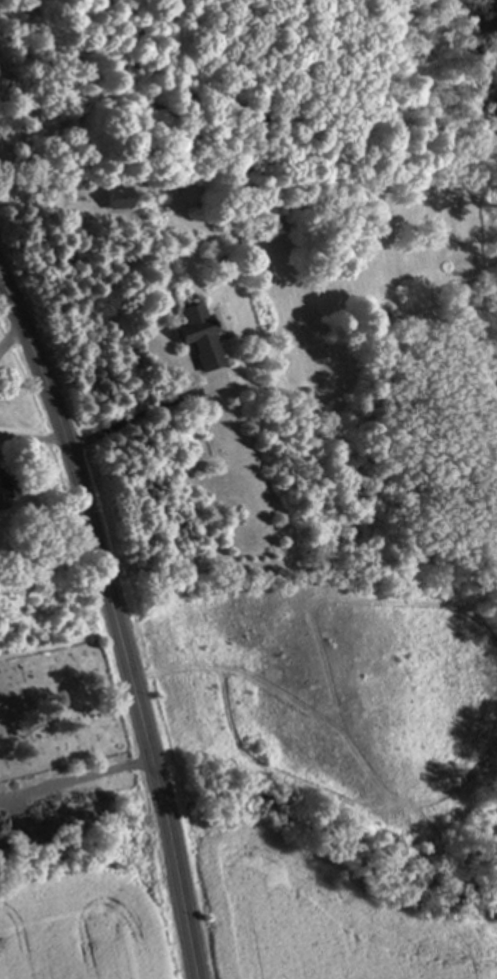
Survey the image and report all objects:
building: (119, 199)
road: (11, 327)
building: (198, 337)
road: (135, 426)
road: (35, 438)
building: (6, 490)
road: (118, 615)
park: (59, 712)

